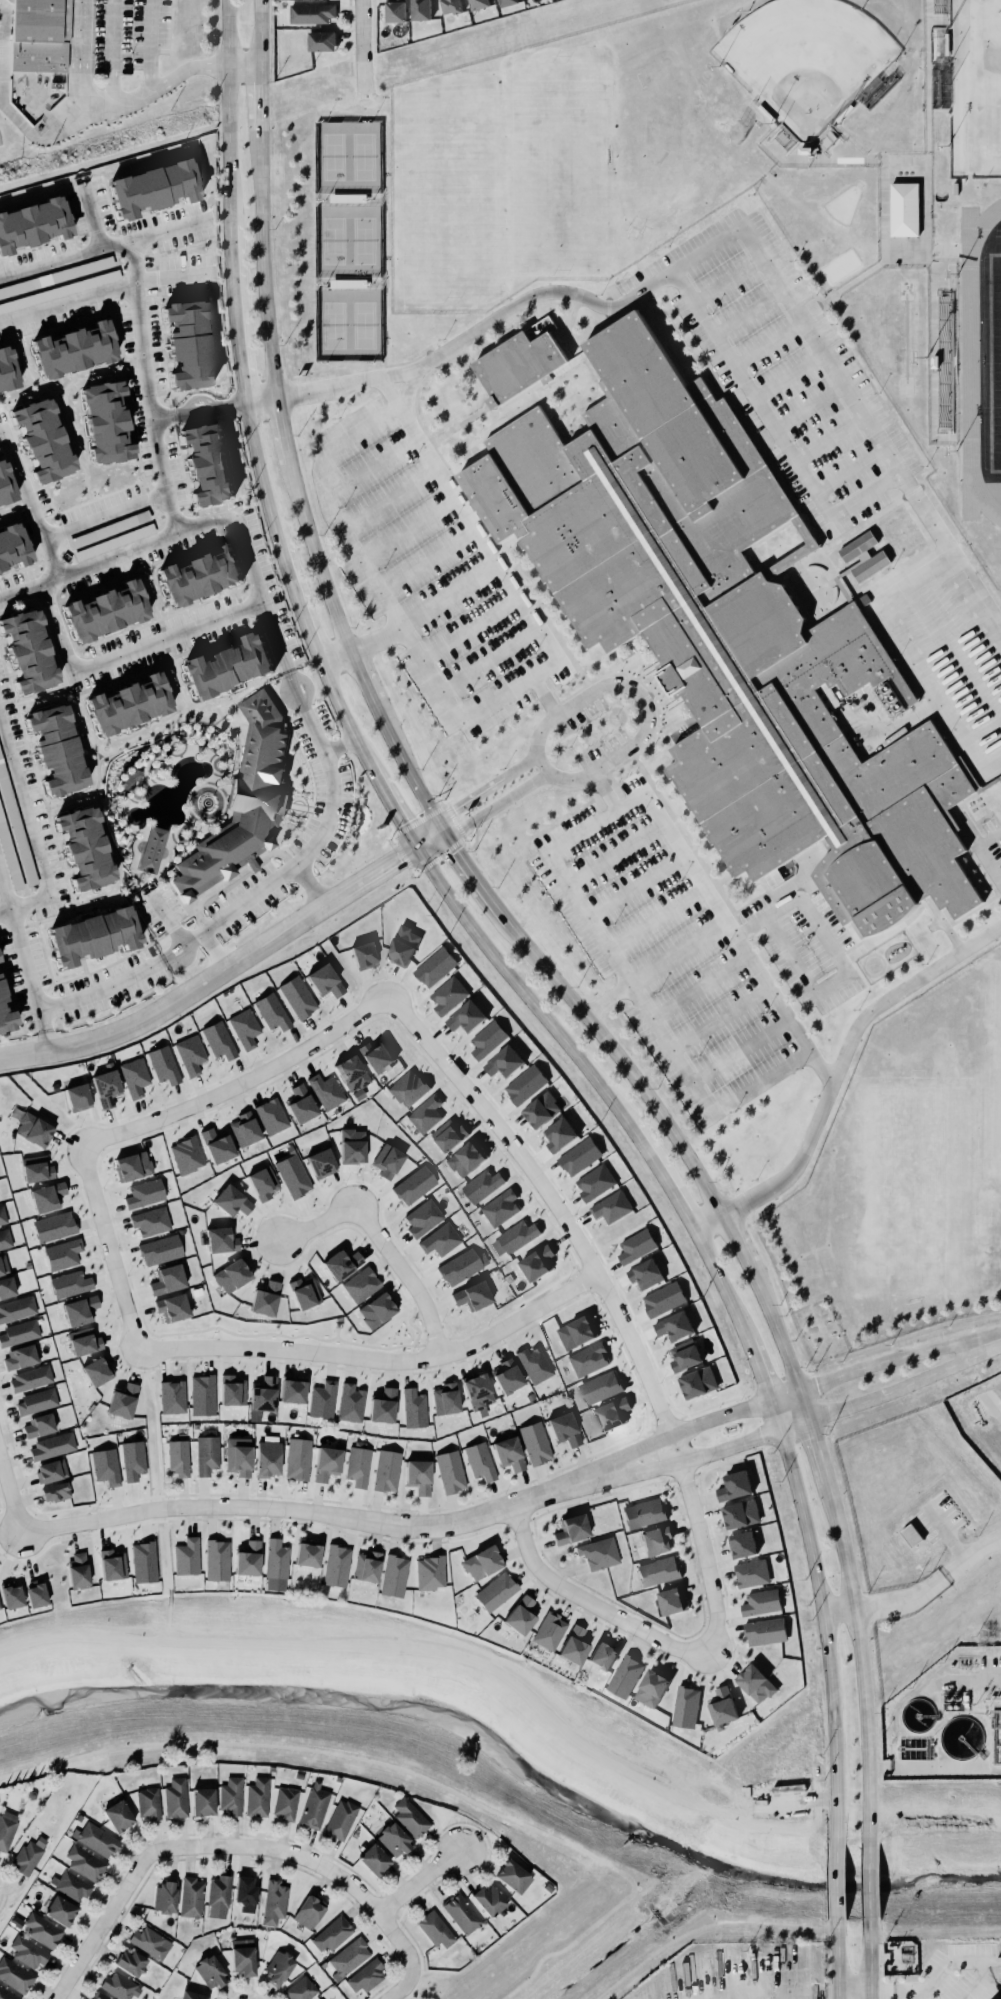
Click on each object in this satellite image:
building: (507, 3)
building: (478, 4)
building: (451, 7)
building: (421, 10)
building: (395, 11)
building: (310, 13)
road: (260, 33)
building: (37, 34)
building: (322, 42)
road: (365, 45)
road: (148, 46)
road: (110, 58)
park: (804, 61)
road: (243, 67)
road: (187, 68)
park: (975, 88)
road: (79, 89)
road: (259, 100)
road: (227, 113)
road: (44, 138)
park: (541, 171)
building: (153, 184)
road: (262, 189)
building: (904, 209)
building: (33, 219)
road: (725, 236)
park: (346, 242)
road: (97, 250)
road: (382, 251)
road: (134, 257)
road: (727, 278)
road: (747, 311)
road: (141, 313)
road: (234, 313)
road: (270, 321)
building: (188, 340)
road: (767, 343)
building: (72, 345)
building: (7, 367)
road: (788, 375)
road: (389, 394)
road: (261, 399)
road: (211, 406)
road: (808, 408)
road: (165, 414)
building: (104, 419)
road: (772, 429)
road: (282, 430)
building: (41, 437)
road: (827, 438)
building: (206, 460)
road: (370, 469)
road: (848, 470)
road: (260, 475)
building: (5, 483)
road: (387, 499)
road: (324, 505)
road: (173, 513)
building: (109, 529)
road: (238, 529)
road: (408, 531)
road: (55, 535)
building: (114, 542)
building: (12, 543)
road: (116, 552)
road: (489, 553)
building: (862, 556)
road: (315, 557)
road: (427, 561)
building: (200, 572)
road: (47, 581)
road: (448, 596)
road: (298, 605)
building: (105, 608)
building: (718, 626)
road: (469, 628)
road: (273, 632)
road: (376, 640)
building: (26, 649)
road: (127, 652)
road: (334, 656)
road: (489, 660)
building: (226, 664)
road: (359, 676)
road: (632, 690)
building: (127, 702)
road: (452, 710)
road: (341, 714)
building: (56, 747)
road: (403, 766)
road: (520, 767)
road: (323, 768)
road: (466, 800)
building: (242, 803)
road: (389, 806)
road: (495, 807)
road: (30, 826)
building: (15, 828)
building: (84, 846)
building: (152, 849)
road: (981, 854)
road: (613, 856)
building: (8, 857)
road: (459, 858)
road: (634, 888)
road: (249, 898)
road: (714, 906)
road: (801, 908)
road: (654, 921)
building: (93, 932)
building: (401, 940)
building: (363, 955)
road: (228, 965)
building: (435, 967)
road: (654, 968)
road: (799, 972)
building: (325, 981)
building: (1, 988)
road: (519, 988)
road: (698, 988)
building: (448, 995)
building: (297, 997)
road: (634, 1000)
road: (43, 1005)
building: (5, 1011)
building: (272, 1012)
road: (41, 1017)
building: (466, 1017)
road: (719, 1021)
building: (244, 1028)
road: (45, 1040)
building: (218, 1040)
building: (487, 1040)
road: (608, 1046)
road: (740, 1052)
building: (190, 1054)
building: (376, 1057)
building: (160, 1062)
building: (504, 1062)
park: (990, 1067)
road: (836, 1071)
building: (352, 1074)
building: (134, 1077)
road: (240, 1083)
building: (525, 1085)
building: (106, 1088)
building: (408, 1089)
building: (326, 1091)
building: (76, 1093)
building: (301, 1104)
building: (539, 1107)
building: (426, 1114)
building: (271, 1116)
building: (244, 1129)
building: (34, 1130)
building: (449, 1135)
building: (559, 1135)
building: (217, 1145)
building: (352, 1146)
building: (463, 1154)
building: (577, 1154)
building: (186, 1155)
building: (319, 1160)
building: (387, 1161)
building: (133, 1166)
building: (36, 1169)
building: (293, 1176)
building: (261, 1179)
road: (662, 1179)
building: (595, 1183)
building: (414, 1185)
building: (483, 1186)
park: (911, 1189)
building: (142, 1191)
building: (47, 1197)
building: (231, 1201)
building: (609, 1204)
building: (499, 1205)
building: (1, 1215)
building: (423, 1218)
building: (150, 1221)
building: (54, 1226)
building: (218, 1235)
building: (438, 1237)
building: (4, 1238)
building: (514, 1238)
road: (736, 1239)
road: (381, 1240)
building: (636, 1246)
road: (110, 1247)
building: (160, 1250)
building: (62, 1254)
building: (2, 1263)
building: (537, 1263)
building: (341, 1264)
building: (459, 1267)
building: (645, 1274)
building: (232, 1275)
building: (167, 1279)
building: (68, 1281)
building: (361, 1284)
road: (721, 1284)
building: (5, 1286)
building: (261, 1293)
building: (304, 1293)
building: (472, 1296)
building: (662, 1296)
road: (608, 1297)
building: (170, 1302)
building: (16, 1308)
building: (80, 1310)
building: (377, 1310)
road: (409, 1323)
building: (338, 1324)
road: (774, 1325)
building: (675, 1326)
building: (18, 1331)
park: (303, 1332)
road: (337, 1332)
building: (577, 1333)
road: (234, 1334)
building: (84, 1341)
road: (435, 1341)
road: (419, 1345)
road: (374, 1347)
building: (19, 1356)
road: (898, 1356)
building: (685, 1358)
road: (378, 1359)
building: (589, 1360)
building: (534, 1364)
road: (760, 1366)
building: (97, 1371)
building: (507, 1376)
building: (29, 1377)
building: (698, 1383)
building: (599, 1388)
building: (232, 1390)
building: (292, 1391)
building: (477, 1391)
building: (202, 1395)
building: (263, 1395)
building: (172, 1397)
building: (445, 1399)
building: (322, 1400)
building: (35, 1401)
building: (122, 1401)
building: (380, 1402)
building: (351, 1403)
road: (804, 1404)
building: (414, 1408)
building: (609, 1410)
building: (39, 1425)
building: (562, 1428)
road: (675, 1432)
road: (785, 1432)
road: (157, 1434)
building: (532, 1440)
building: (51, 1445)
building: (204, 1451)
road: (818, 1452)
building: (507, 1453)
building: (236, 1455)
building: (131, 1457)
building: (296, 1457)
building: (178, 1458)
building: (266, 1458)
building: (324, 1460)
building: (478, 1460)
building: (103, 1464)
building: (356, 1464)
building: (384, 1470)
building: (49, 1471)
building: (450, 1471)
building: (418, 1476)
building: (731, 1481)
building: (54, 1491)
road: (11, 1494)
road: (163, 1509)
road: (292, 1511)
building: (642, 1513)
building: (741, 1514)
building: (569, 1529)
road: (11, 1535)
building: (910, 1536)
building: (654, 1540)
building: (742, 1545)
building: (598, 1553)
building: (306, 1554)
road: (167, 1555)
building: (185, 1557)
building: (479, 1557)
building: (142, 1558)
building: (247, 1559)
building: (217, 1560)
building: (112, 1565)
building: (276, 1565)
building: (336, 1566)
building: (367, 1567)
building: (77, 1570)
building: (658, 1571)
building: (430, 1573)
building: (752, 1573)
building: (394, 1576)
road: (920, 1589)
building: (494, 1590)
building: (34, 1594)
building: (10, 1596)
road: (170, 1600)
building: (671, 1600)
road: (590, 1603)
building: (761, 1603)
building: (521, 1615)
road: (825, 1617)
road: (169, 1621)
building: (549, 1631)
building: (764, 1631)
road: (352, 1637)
building: (572, 1645)
building: (603, 1654)
road: (861, 1663)
building: (623, 1676)
road: (941, 1680)
building: (756, 1684)
building: (650, 1687)
building: (684, 1706)
building: (721, 1707)
wastewater plant: (945, 1720)
building: (998, 1742)
road: (935, 1768)
road: (415, 1774)
building: (231, 1796)
building: (256, 1796)
building: (175, 1798)
building: (203, 1802)
building: (148, 1803)
building: (286, 1803)
building: (314, 1806)
building: (117, 1815)
building: (408, 1817)
building: (341, 1819)
building: (6, 1827)
building: (96, 1839)
building: (394, 1840)
building: (25, 1857)
road: (307, 1858)
building: (372, 1859)
building: (83, 1862)
building: (510, 1875)
road: (422, 1882)
road: (836, 1883)
road: (871, 1884)
building: (73, 1887)
building: (217, 1892)
building: (245, 1894)
building: (163, 1897)
building: (191, 1897)
building: (489, 1900)
building: (274, 1902)
building: (57, 1906)
building: (309, 1911)
building: (460, 1912)
road: (102, 1927)
building: (41, 1929)
building: (434, 1929)
building: (331, 1934)
building: (150, 1942)
building: (26, 1951)
road: (871, 1952)
road: (652, 1955)
building: (241, 1956)
building: (349, 1958)
road: (837, 1959)
road: (962, 1959)
building: (130, 1962)
building: (277, 1966)
building: (210, 1972)
building: (14, 1975)
building: (365, 1977)
road: (855, 1984)
building: (119, 1985)
building: (300, 1989)
road: (402, 1989)
road: (872, 1991)
road: (893, 1991)
building: (8, 1994)
building: (98, 1995)
building: (190, 1995)
road: (815, 1995)

